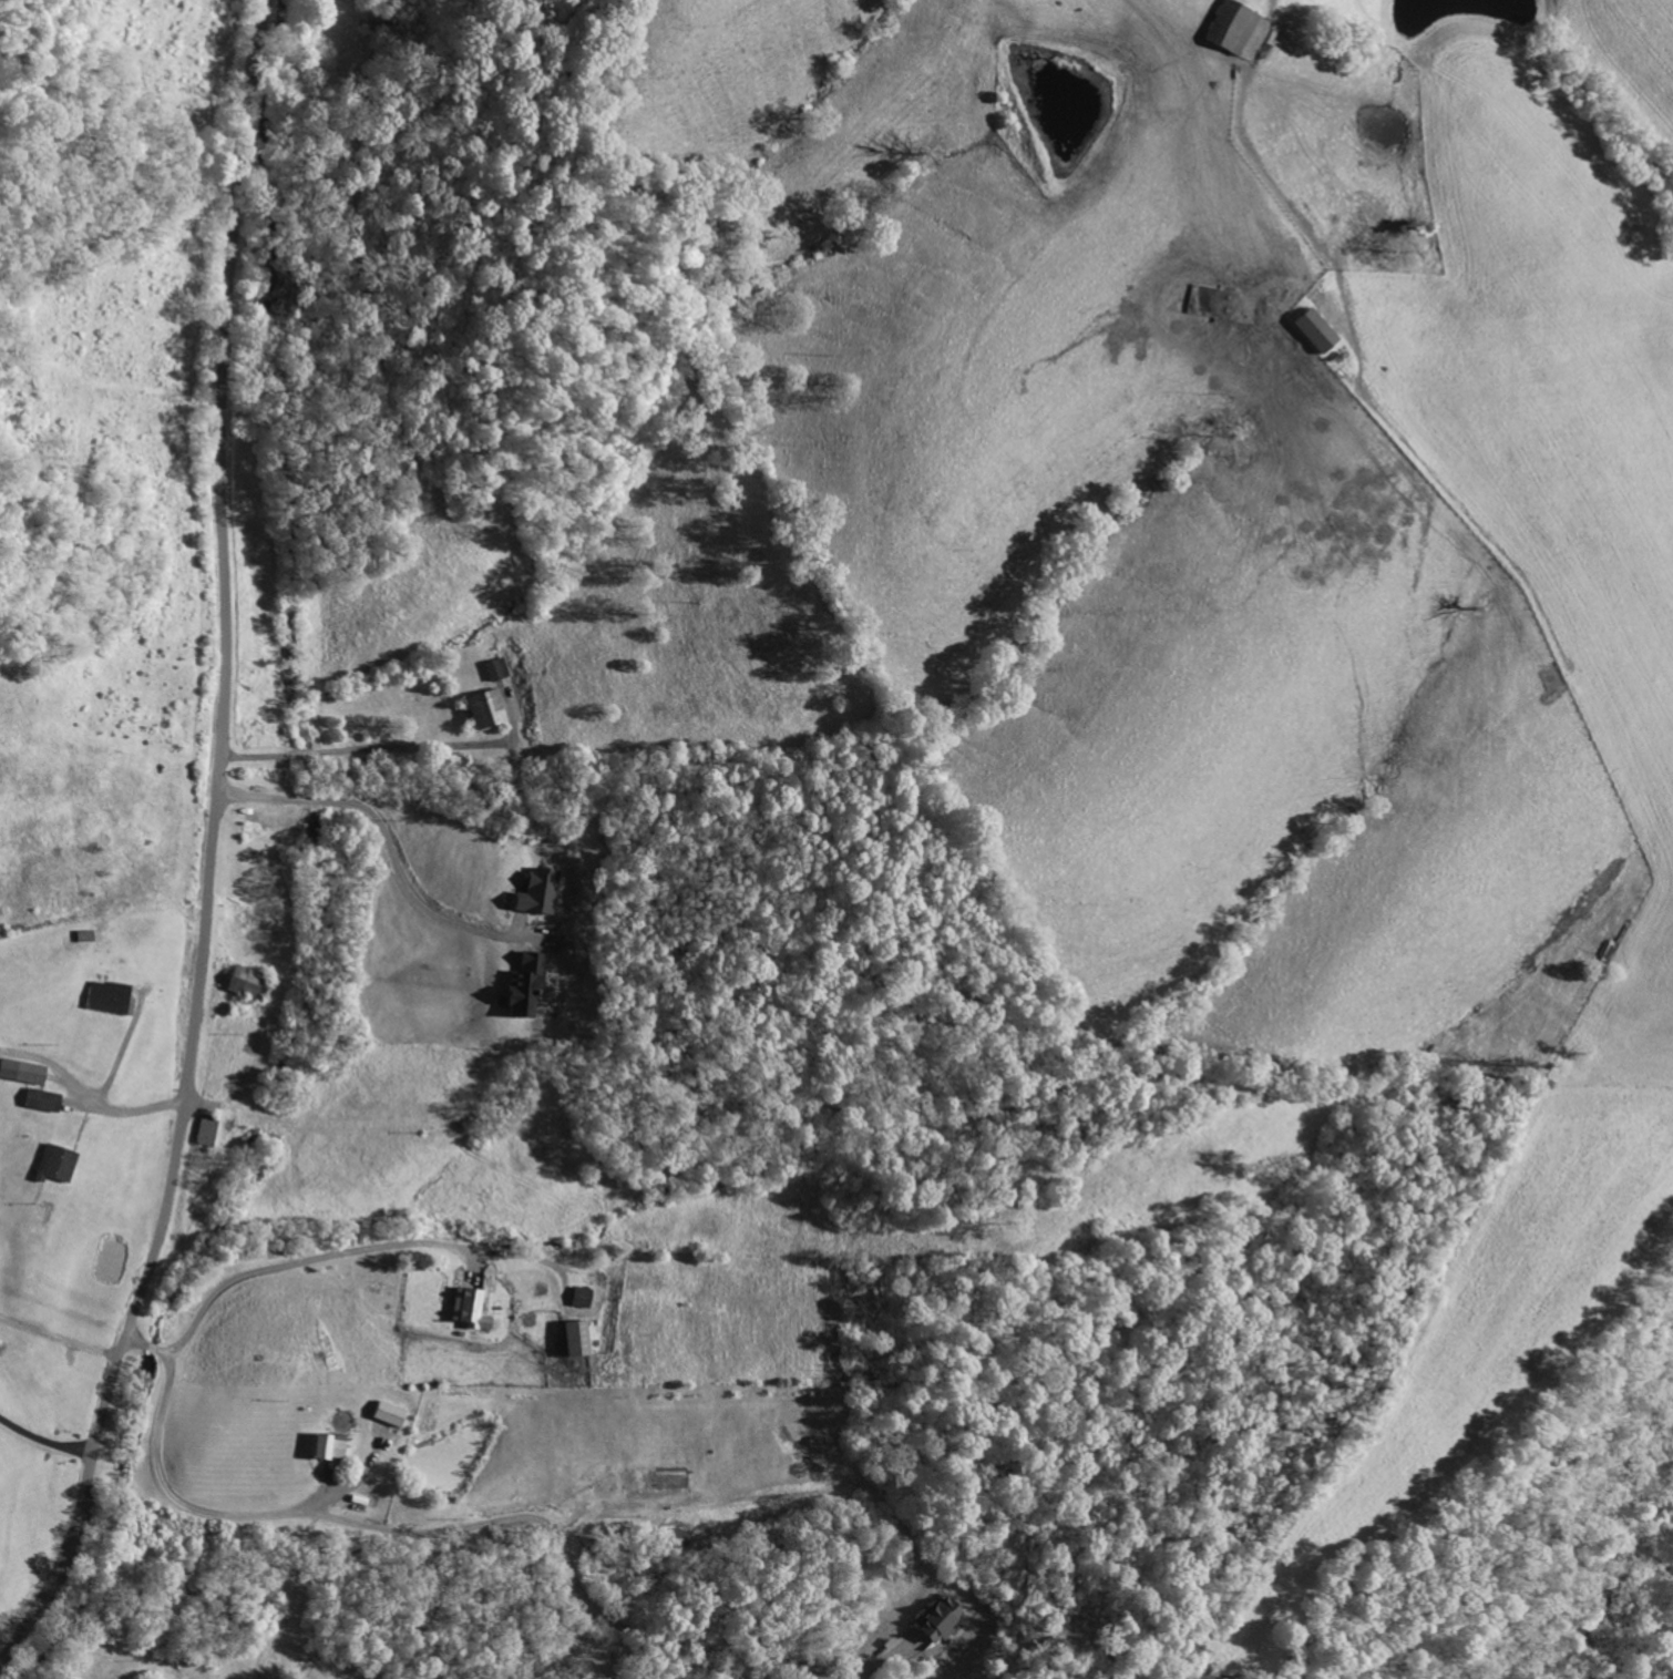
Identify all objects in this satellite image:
building: (1232, 24)
building: (1316, 331)
building: (501, 668)
building: (491, 707)
road: (403, 747)
road: (213, 848)
road: (393, 854)
building: (542, 892)
building: (247, 982)
building: (528, 982)
building: (111, 997)
building: (22, 1072)
road: (88, 1089)
building: (43, 1099)
building: (208, 1130)
building: (58, 1163)
road: (355, 1249)
building: (586, 1294)
building: (473, 1308)
road: (59, 1337)
building: (581, 1337)
building: (390, 1414)
road: (43, 1440)
building: (329, 1447)
road: (329, 1493)
road: (506, 1521)
building: (940, 1619)

